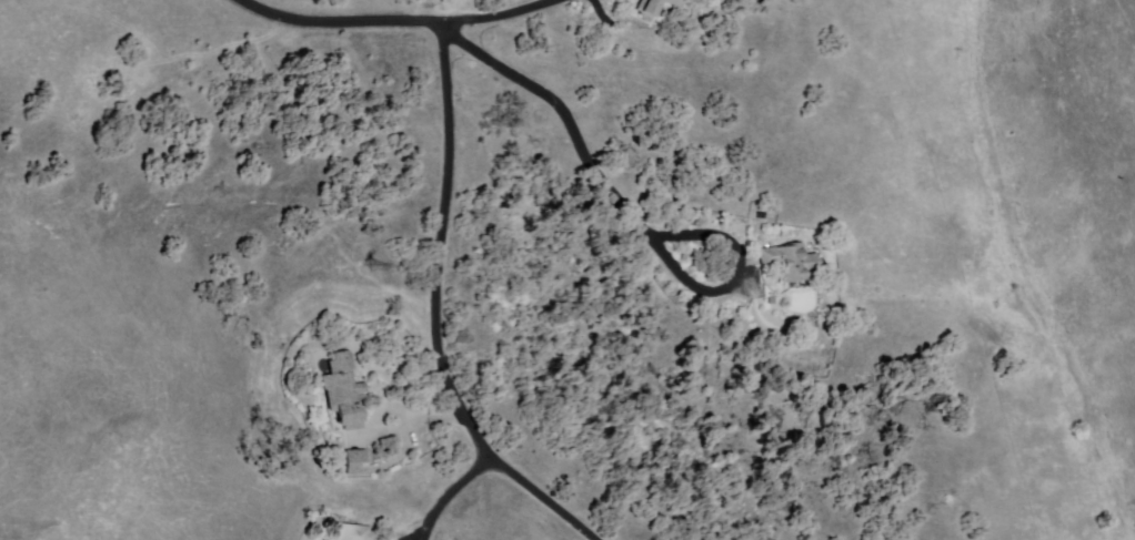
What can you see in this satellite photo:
building: (676, 2)
building: (650, 8)
road: (342, 14)
road: (504, 17)
road: (632, 212)
road: (442, 246)
building: (787, 264)
power tower: (373, 268)
building: (342, 393)
building: (355, 463)
road: (454, 496)
road: (540, 498)
building: (351, 533)

